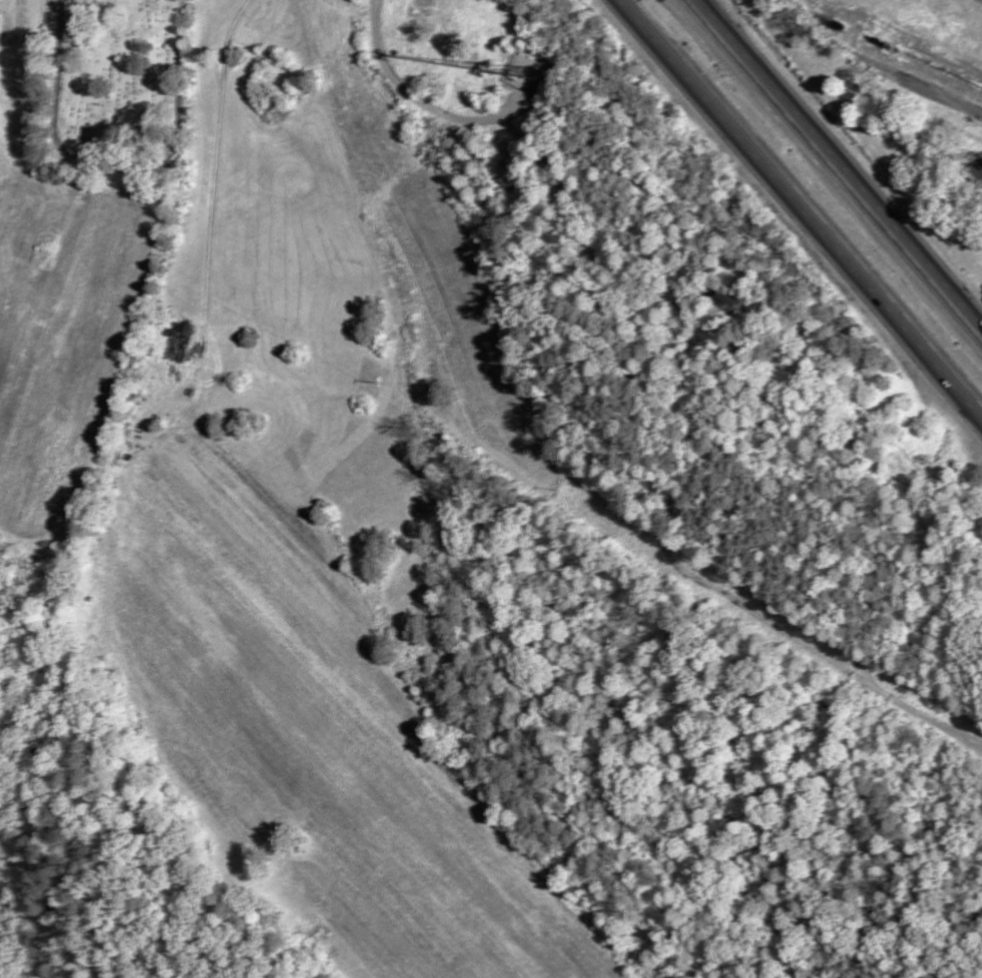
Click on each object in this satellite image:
park: (118, 89)
road: (945, 98)
road: (835, 168)
road: (805, 201)
building: (177, 343)

